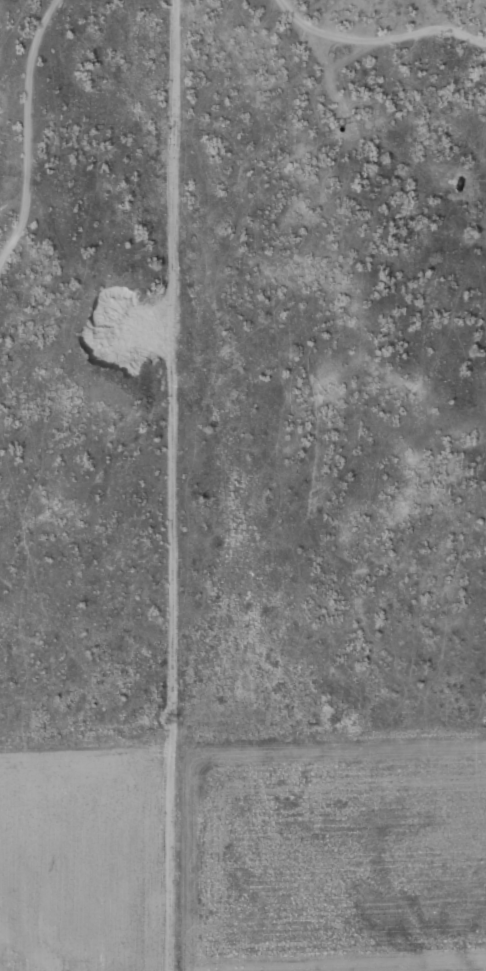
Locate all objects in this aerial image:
road: (21, 101)

